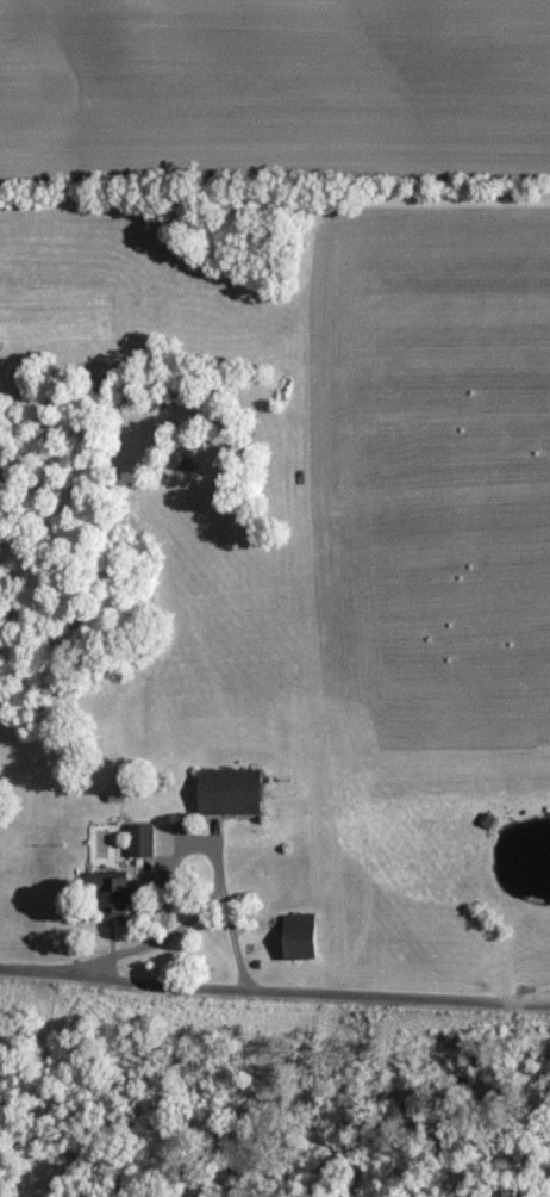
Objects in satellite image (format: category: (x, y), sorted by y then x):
building: (237, 793)
building: (145, 842)
building: (124, 898)
building: (305, 937)
road: (271, 1023)

